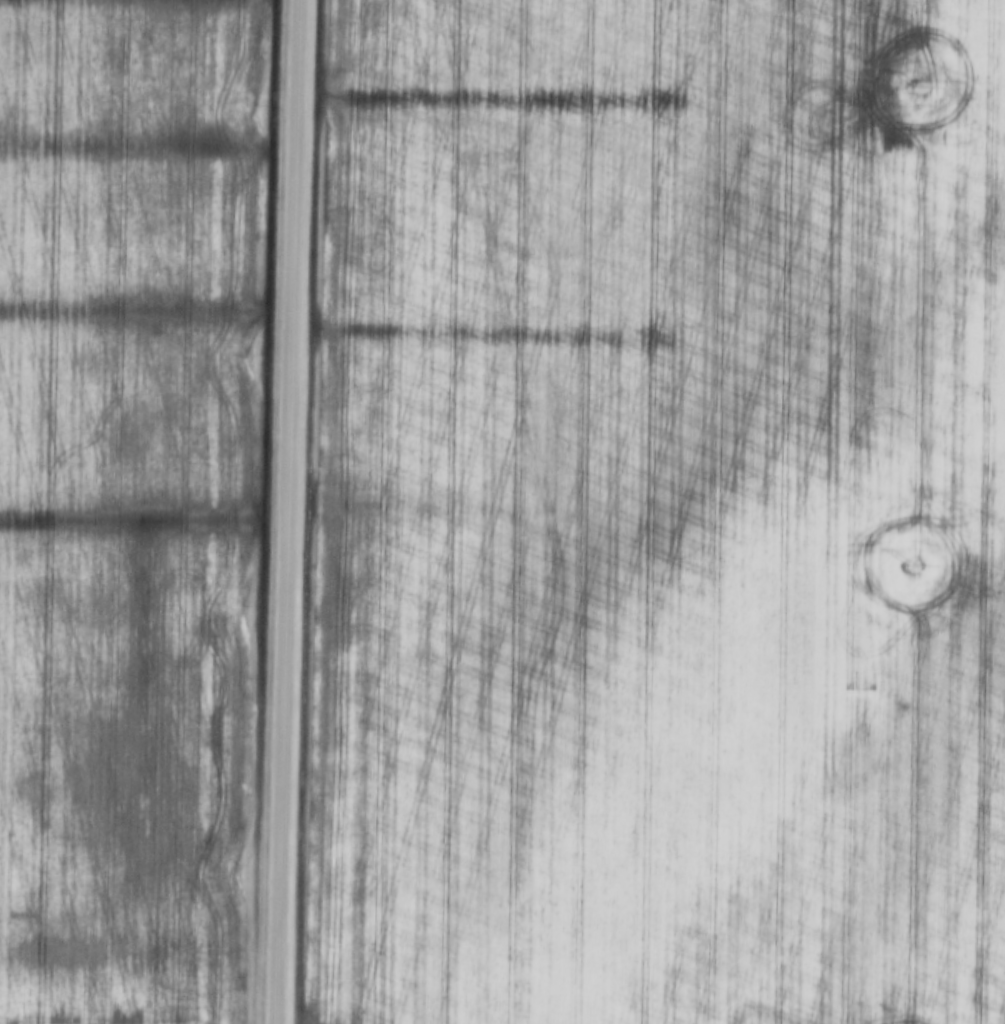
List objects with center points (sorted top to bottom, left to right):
power tower: (917, 81)
crop: (121, 503)
road: (283, 512)
crop: (659, 515)
power tower: (913, 563)

